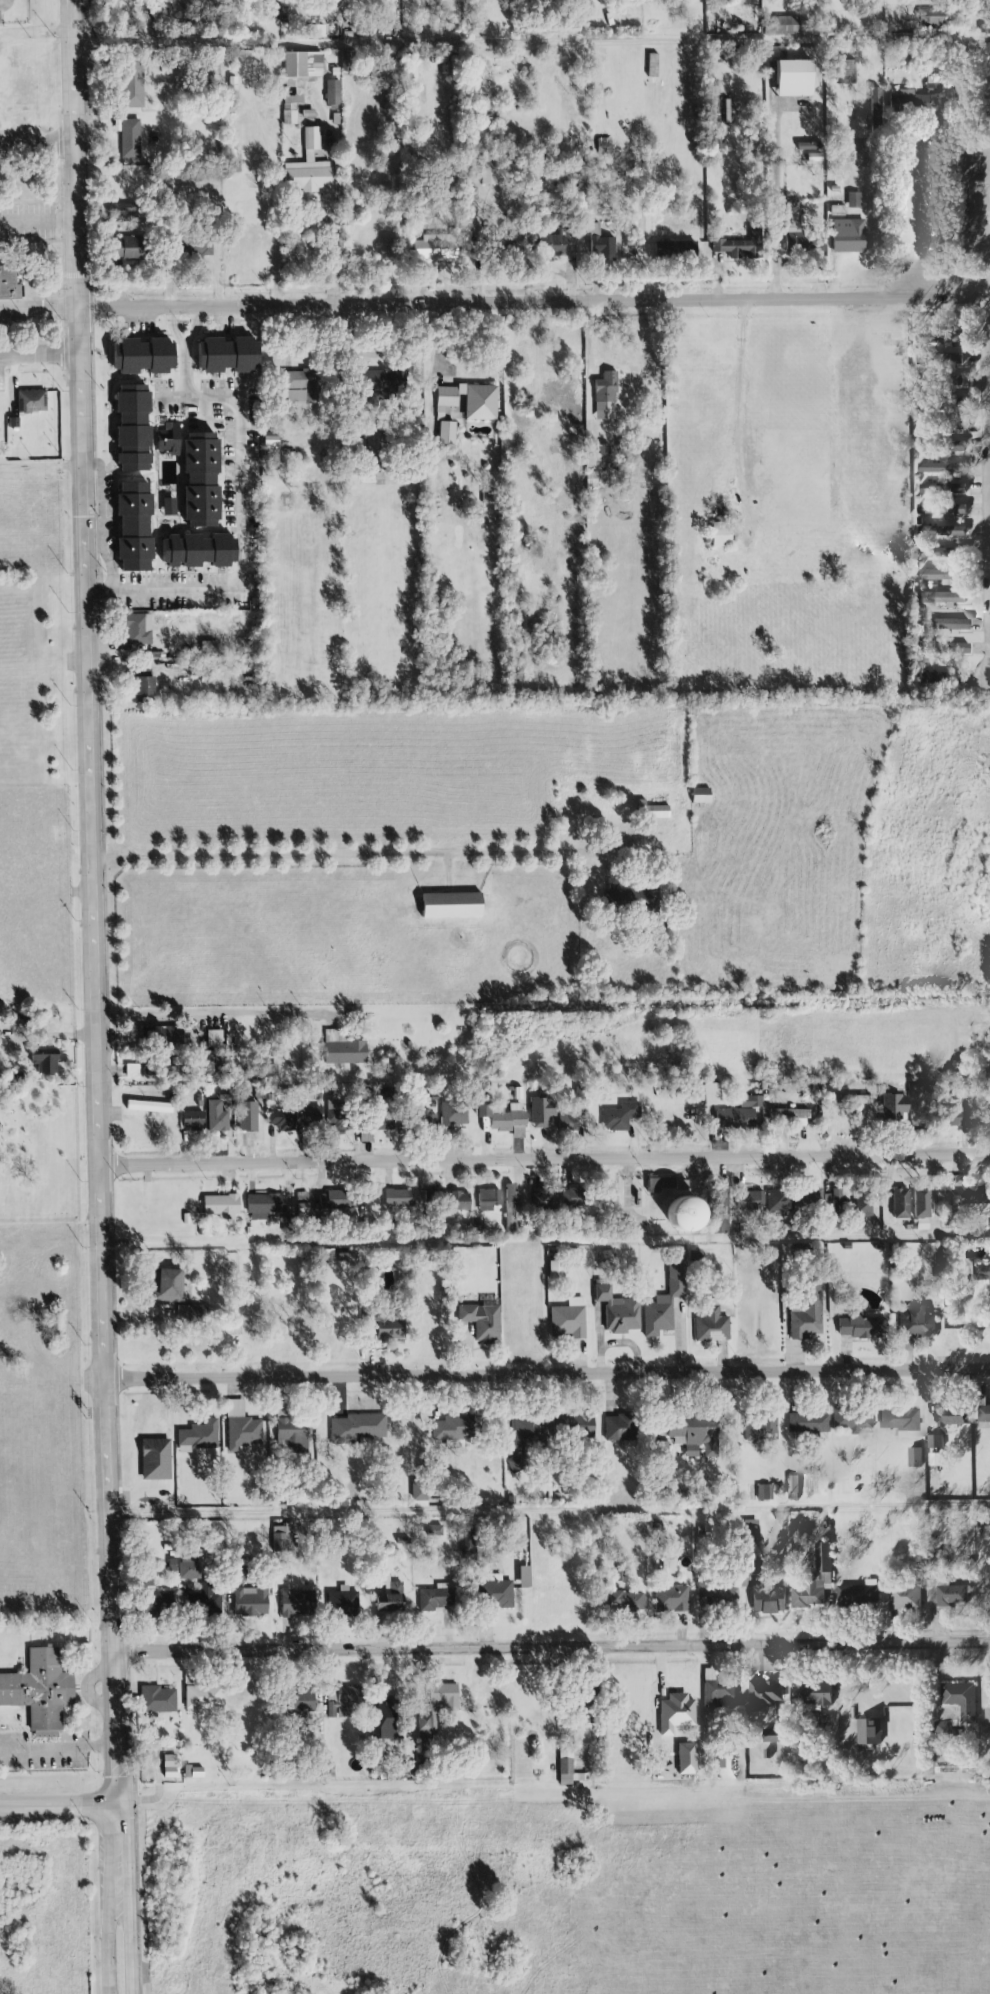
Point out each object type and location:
building: (930, 18)
building: (0, 19)
building: (783, 26)
road: (530, 41)
building: (348, 60)
building: (305, 64)
building: (847, 72)
building: (799, 78)
building: (135, 83)
building: (934, 85)
building: (333, 92)
building: (909, 101)
building: (878, 102)
building: (292, 108)
building: (129, 138)
road: (36, 141)
building: (810, 146)
building: (815, 157)
building: (308, 167)
building: (491, 171)
building: (192, 190)
building: (855, 200)
road: (776, 202)
building: (126, 208)
road: (948, 208)
road: (37, 219)
road: (337, 231)
building: (798, 232)
building: (852, 236)
building: (556, 245)
building: (737, 247)
building: (432, 248)
building: (603, 248)
building: (132, 249)
building: (674, 249)
road: (880, 249)
building: (8, 283)
road: (534, 304)
road: (39, 310)
road: (196, 328)
road: (173, 329)
road: (40, 354)
building: (225, 354)
building: (145, 356)
road: (186, 372)
building: (302, 379)
building: (954, 381)
building: (382, 386)
building: (606, 396)
building: (468, 400)
building: (32, 401)
road: (987, 414)
road: (738, 420)
building: (132, 428)
building: (170, 439)
building: (941, 446)
building: (378, 450)
road: (42, 467)
building: (938, 469)
building: (200, 478)
building: (956, 488)
building: (168, 507)
building: (950, 511)
road: (101, 522)
building: (133, 526)
road: (246, 531)
building: (952, 531)
building: (723, 534)
building: (198, 550)
building: (937, 575)
building: (943, 598)
building: (943, 624)
building: (140, 629)
building: (950, 647)
building: (924, 678)
building: (146, 688)
building: (702, 796)
building: (656, 811)
road: (94, 848)
road: (343, 855)
building: (652, 896)
building: (454, 906)
road: (213, 1012)
building: (0, 1016)
building: (168, 1034)
building: (215, 1038)
building: (344, 1048)
building: (47, 1061)
building: (132, 1070)
building: (713, 1093)
building: (859, 1099)
building: (748, 1101)
building: (150, 1106)
building: (892, 1106)
building: (787, 1114)
building: (454, 1115)
building: (217, 1116)
building: (249, 1116)
building: (324, 1116)
building: (619, 1116)
building: (506, 1117)
building: (949, 1117)
building: (734, 1118)
building: (281, 1119)
building: (194, 1120)
building: (569, 1122)
building: (377, 1126)
road: (546, 1160)
building: (661, 1184)
building: (430, 1194)
building: (967, 1196)
building: (398, 1197)
building: (544, 1198)
building: (574, 1198)
building: (805, 1198)
building: (337, 1199)
building: (487, 1199)
building: (749, 1199)
building: (461, 1200)
building: (776, 1200)
building: (917, 1202)
building: (898, 1203)
building: (846, 1204)
building: (222, 1205)
building: (266, 1206)
building: (510, 1206)
building: (691, 1213)
road: (547, 1239)
building: (604, 1255)
building: (557, 1269)
building: (981, 1275)
building: (172, 1284)
building: (664, 1301)
building: (619, 1310)
building: (804, 1310)
building: (483, 1320)
building: (567, 1322)
building: (914, 1322)
building: (59, 1323)
building: (711, 1325)
building: (855, 1325)
building: (392, 1329)
road: (549, 1374)
building: (982, 1410)
building: (946, 1415)
building: (899, 1418)
building: (849, 1421)
building: (805, 1422)
building: (583, 1424)
building: (457, 1427)
building: (621, 1427)
building: (358, 1428)
building: (757, 1428)
building: (242, 1430)
building: (294, 1433)
building: (697, 1434)
building: (199, 1435)
building: (528, 1440)
building: (934, 1441)
building: (913, 1458)
building: (157, 1459)
building: (791, 1484)
building: (762, 1491)
building: (420, 1493)
road: (551, 1510)
building: (436, 1530)
building: (749, 1530)
building: (282, 1538)
building: (469, 1544)
building: (189, 1568)
building: (526, 1576)
building: (815, 1580)
building: (497, 1593)
building: (857, 1593)
building: (902, 1596)
building: (948, 1596)
building: (209, 1598)
building: (437, 1598)
building: (672, 1598)
building: (392, 1600)
building: (632, 1600)
building: (765, 1600)
building: (251, 1601)
building: (162, 1603)
building: (297, 1603)
building: (345, 1603)
road: (553, 1648)
building: (718, 1688)
building: (41, 1690)
building: (810, 1693)
building: (763, 1694)
building: (203, 1696)
building: (158, 1699)
building: (959, 1699)
building: (341, 1700)
building: (305, 1701)
building: (438, 1706)
building: (675, 1713)
building: (387, 1717)
building: (866, 1731)
building: (767, 1735)
road: (55, 1747)
building: (688, 1758)
building: (170, 1766)
building: (566, 1766)
building: (194, 1772)
road: (63, 1795)
road: (109, 1844)
road: (131, 1845)

